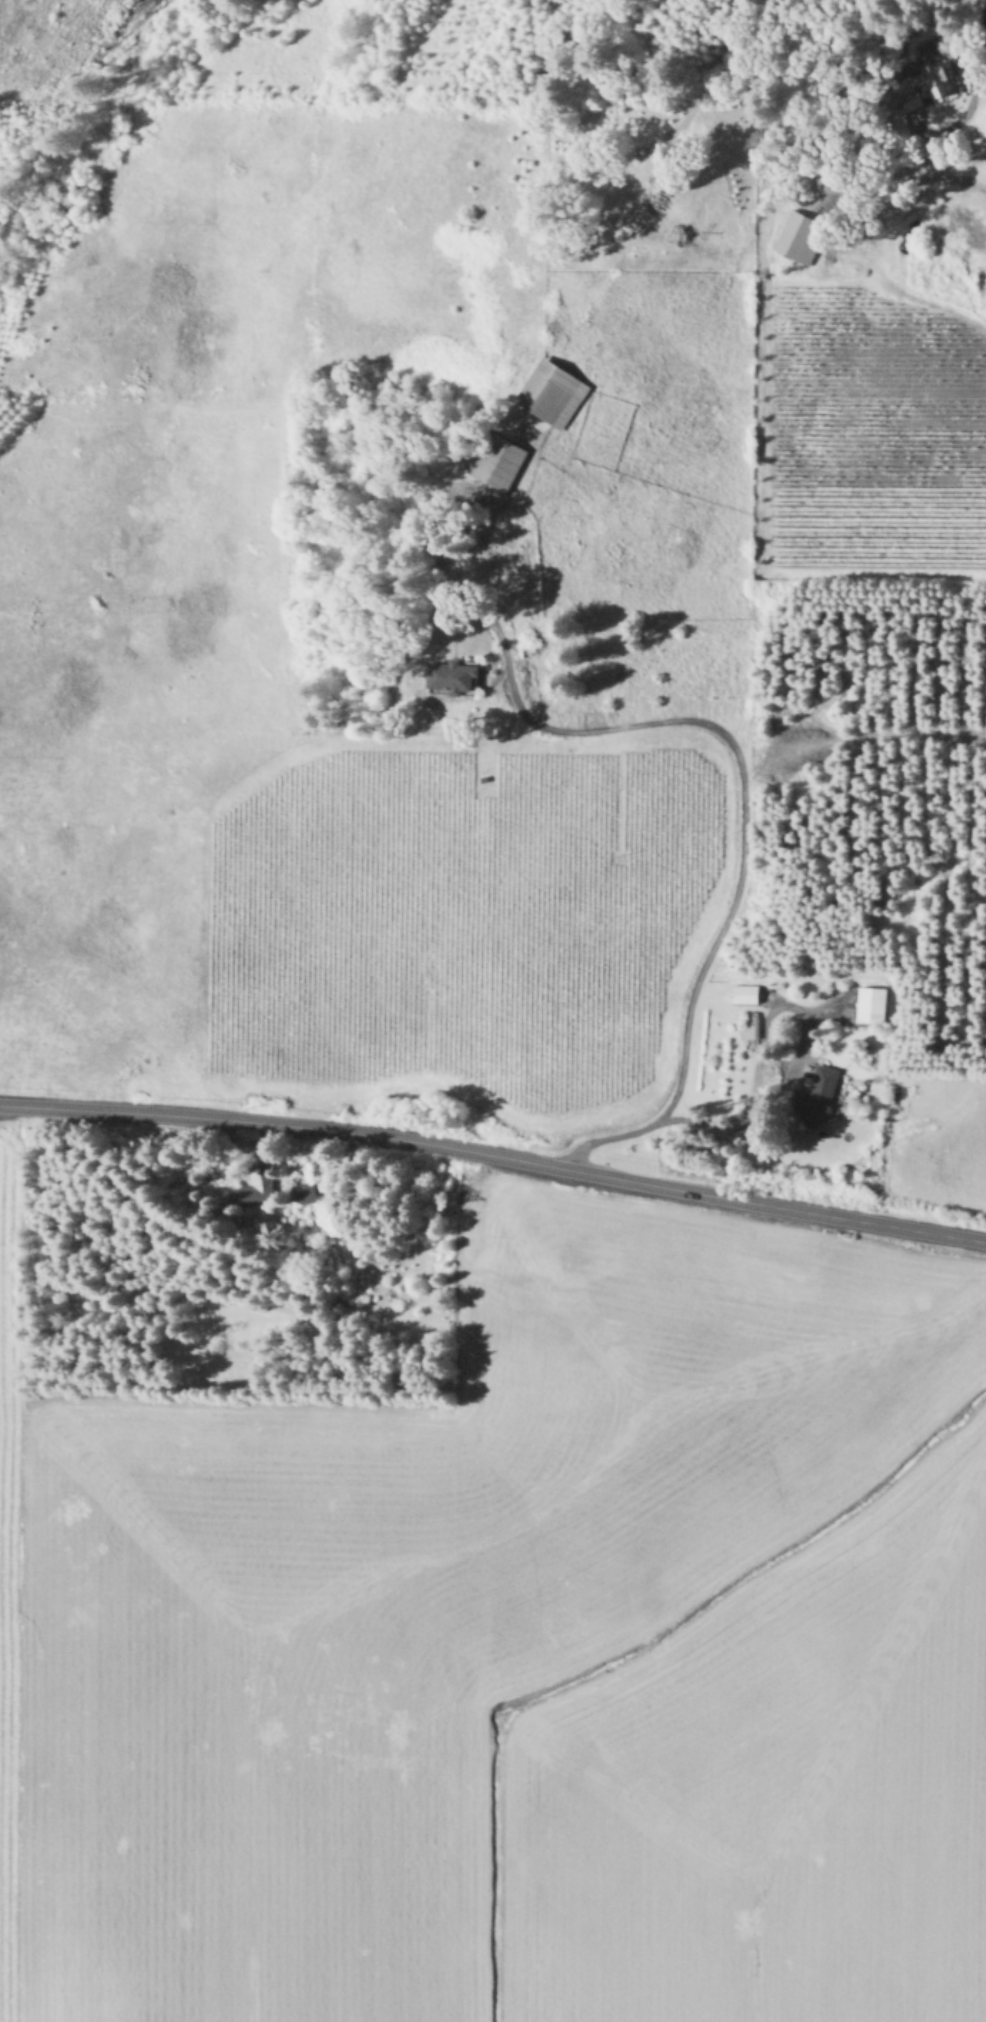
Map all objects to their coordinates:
road: (984, 0)
building: (941, 80)
road: (965, 187)
building: (801, 236)
building: (555, 391)
building: (504, 463)
crop: (532, 653)
building: (460, 674)
road: (743, 795)
building: (745, 993)
building: (871, 1004)
building: (752, 1027)
road: (758, 1062)
building: (821, 1091)
road: (495, 1155)
building: (257, 1190)
building: (306, 1191)
crop: (478, 1604)

